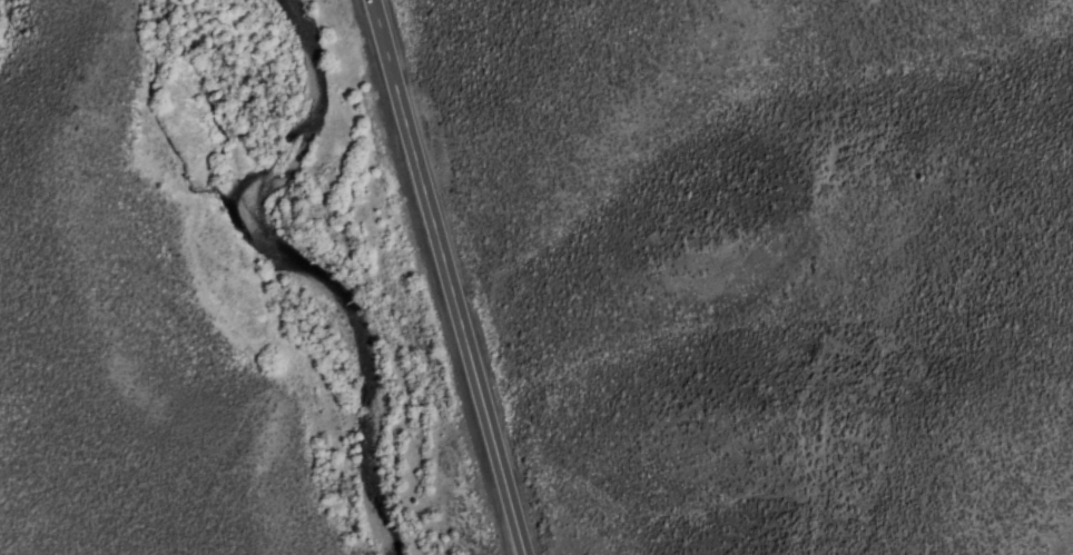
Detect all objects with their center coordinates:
road: (445, 277)

